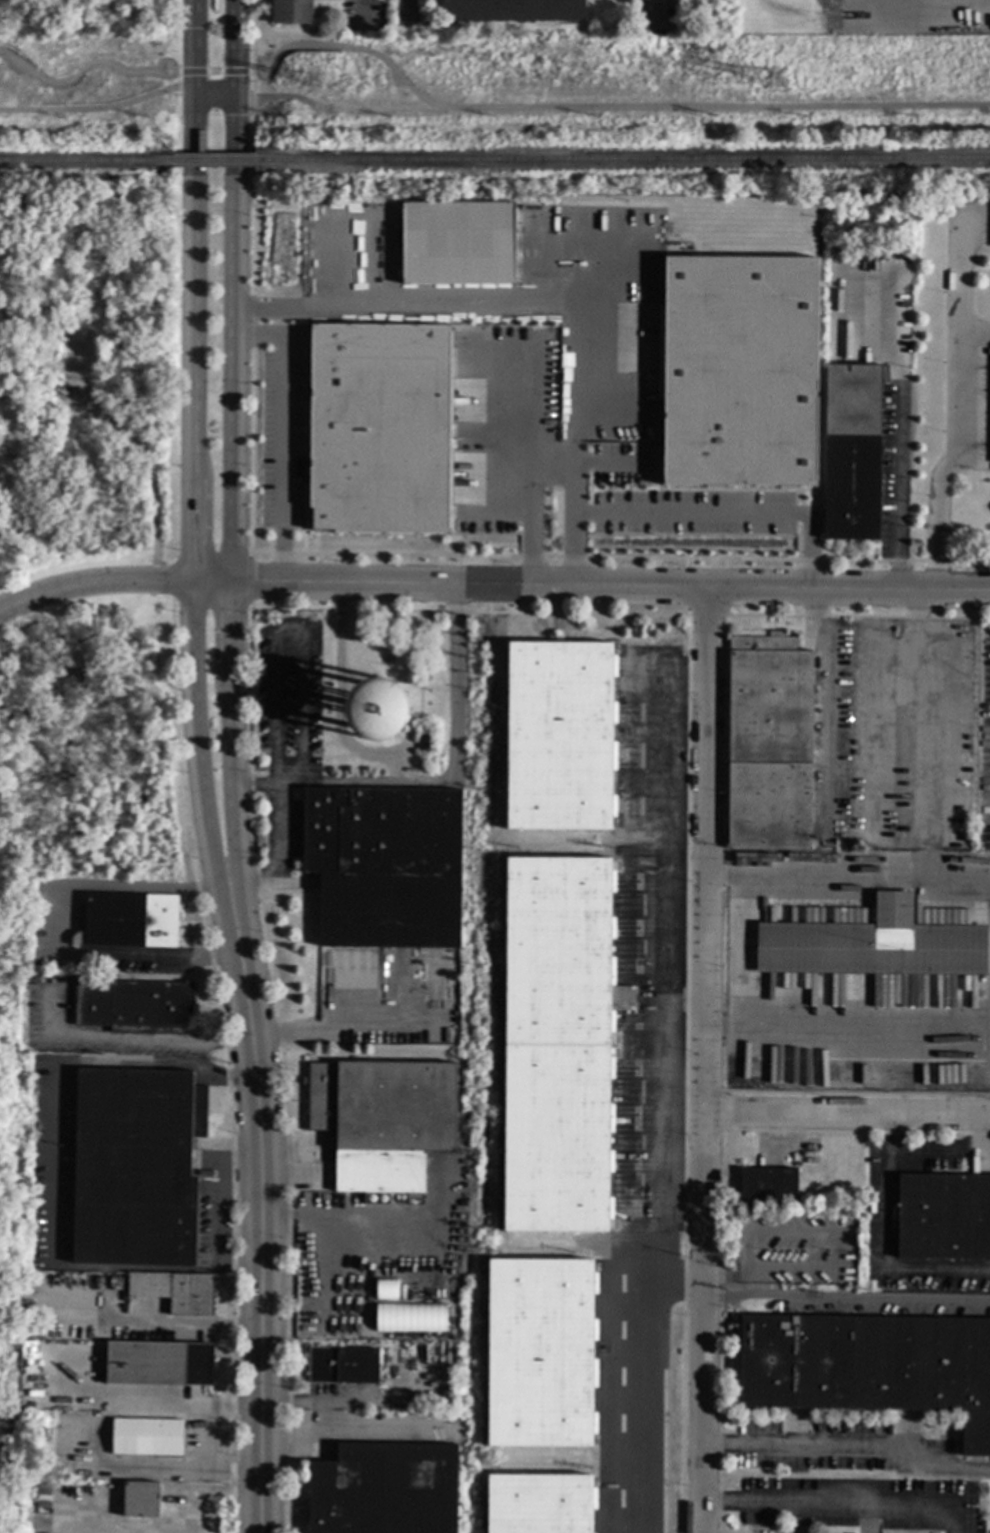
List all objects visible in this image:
road: (853, 4)
road: (652, 8)
building: (512, 10)
road: (360, 11)
building: (291, 12)
park: (89, 19)
road: (194, 44)
road: (328, 46)
road: (230, 48)
road: (161, 61)
road: (261, 62)
road: (265, 67)
road: (160, 70)
road: (215, 72)
road: (269, 76)
road: (71, 77)
road: (160, 77)
power tower: (315, 81)
power tower: (774, 81)
road: (412, 88)
road: (150, 94)
road: (319, 107)
road: (718, 107)
road: (54, 111)
railway: (623, 160)
railway: (214, 161)
railway: (86, 162)
building: (456, 242)
building: (880, 274)
road: (508, 305)
road: (974, 334)
building: (739, 371)
road: (956, 406)
road: (528, 422)
building: (378, 429)
road: (283, 432)
road: (899, 447)
building: (852, 453)
road: (527, 501)
road: (691, 516)
road: (193, 523)
road: (227, 525)
road: (94, 582)
road: (591, 587)
park: (79, 617)
building: (422, 675)
road: (823, 697)
road: (916, 701)
water tower: (377, 710)
building: (377, 711)
building: (421, 731)
building: (559, 736)
building: (422, 743)
building: (769, 744)
road: (437, 782)
road: (279, 857)
building: (385, 866)
road: (849, 879)
building: (128, 921)
road: (55, 931)
building: (872, 945)
building: (135, 1006)
road: (848, 1026)
road: (129, 1038)
building: (558, 1044)
road: (706, 1060)
road: (847, 1120)
building: (383, 1121)
road: (987, 1139)
road: (923, 1157)
building: (136, 1167)
building: (768, 1186)
building: (943, 1217)
road: (253, 1242)
road: (888, 1259)
building: (385, 1289)
building: (176, 1291)
road: (847, 1302)
building: (410, 1318)
road: (180, 1327)
building: (540, 1353)
building: (159, 1364)
building: (343, 1366)
building: (870, 1367)
road: (365, 1402)
road: (294, 1403)
building: (41, 1426)
building: (147, 1437)
road: (850, 1447)
building: (600, 1475)
building: (43, 1489)
building: (384, 1490)
road: (210, 1493)
building: (140, 1499)
building: (539, 1503)
road: (839, 1508)

